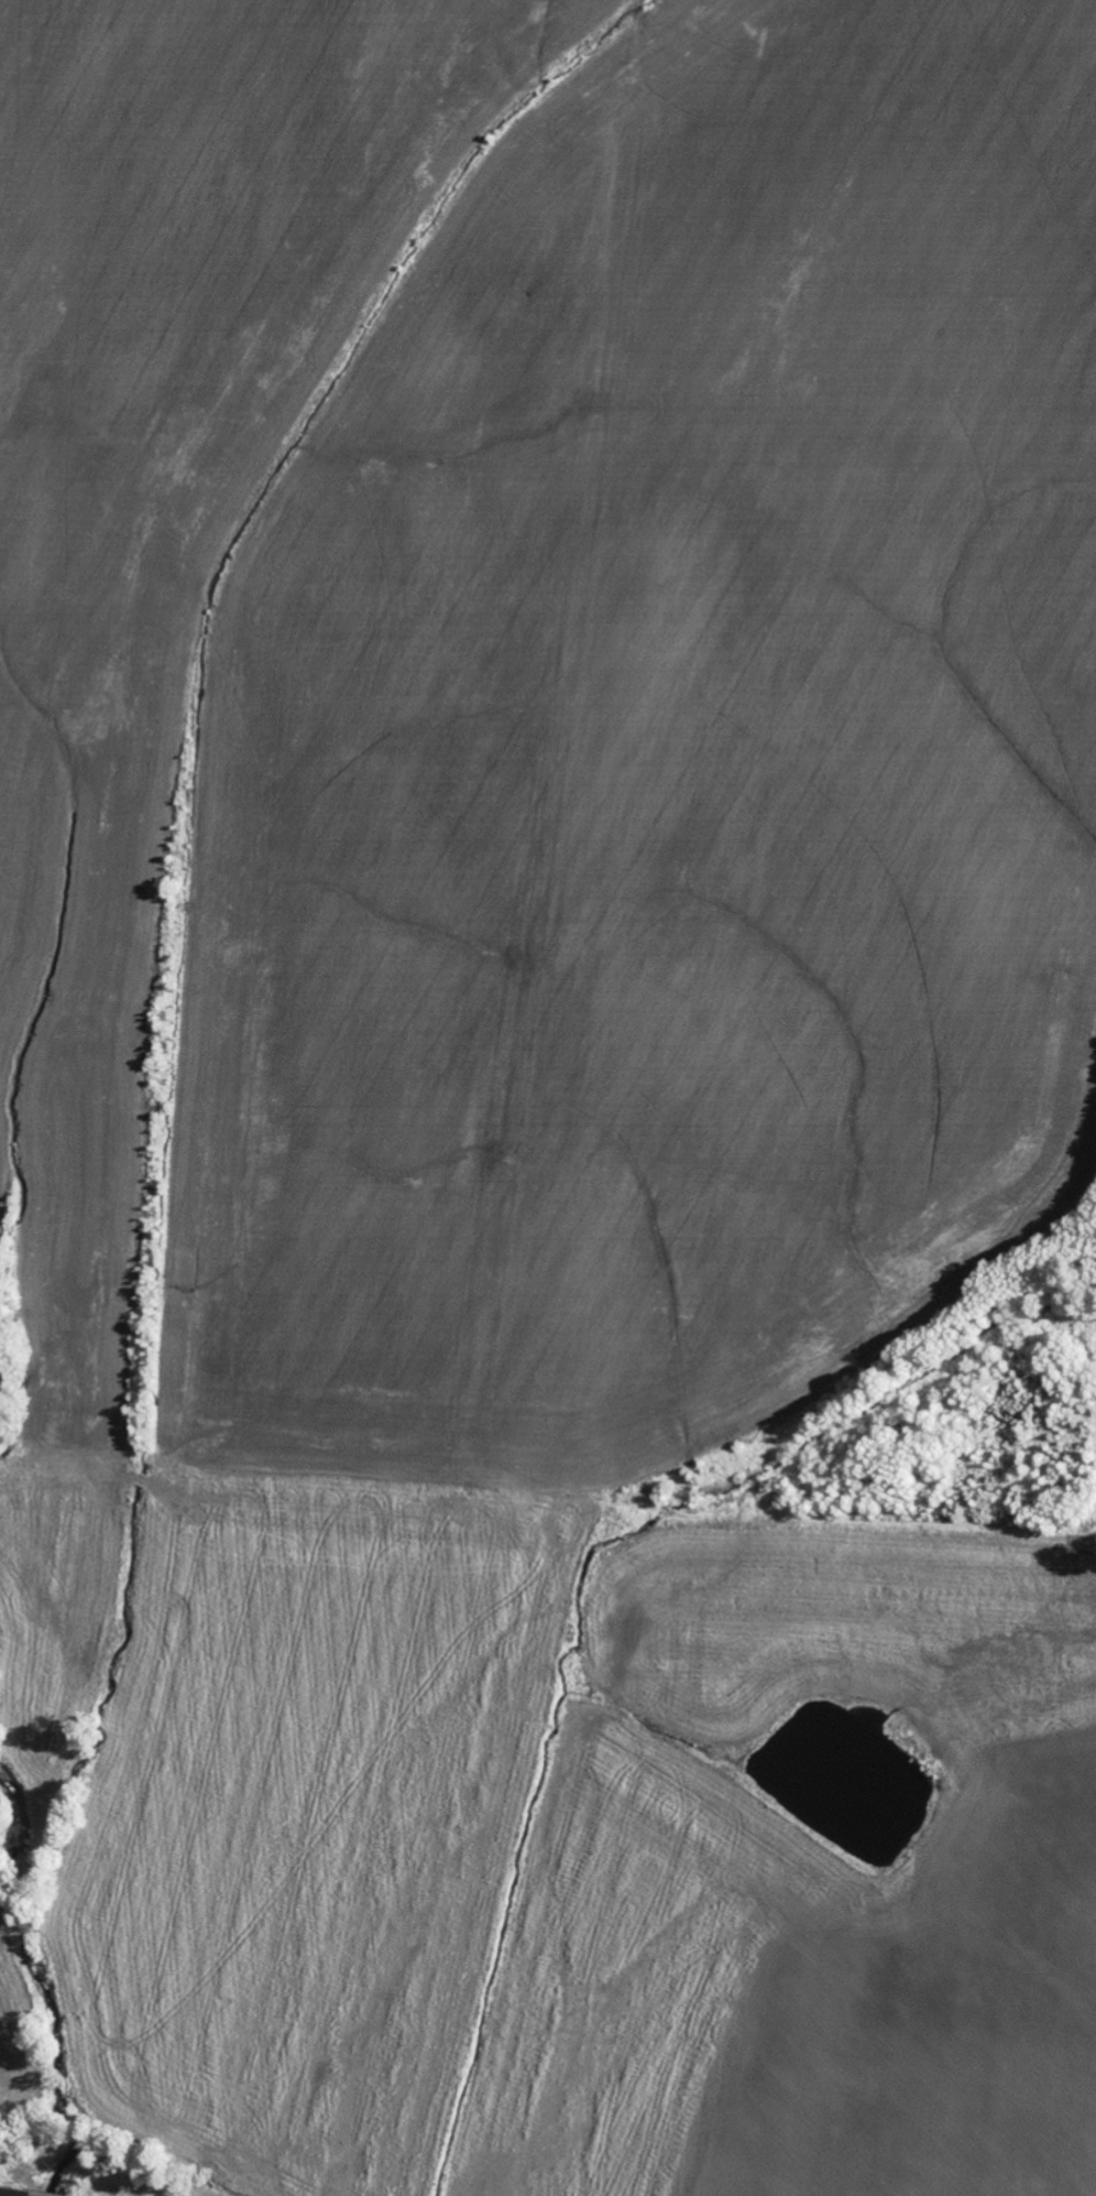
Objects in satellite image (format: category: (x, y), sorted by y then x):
road: (8, 2194)

